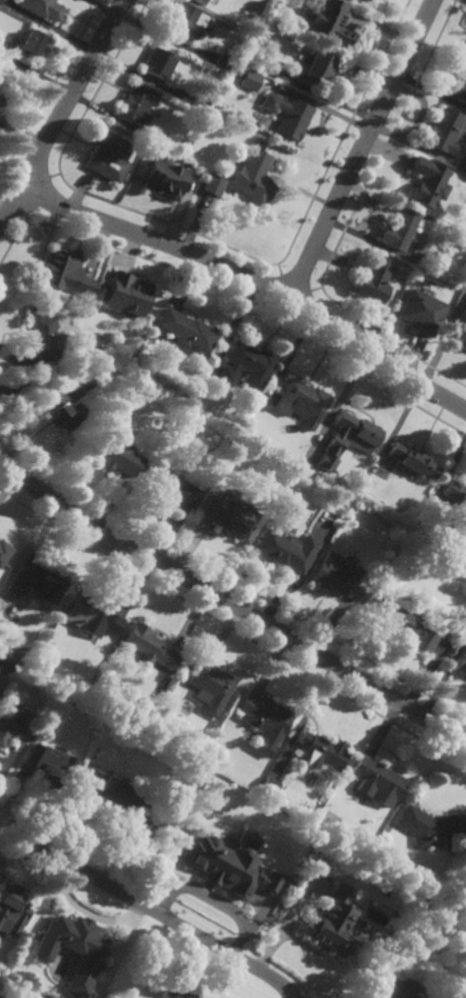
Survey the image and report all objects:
building: (205, 0)
building: (0, 1)
building: (195, 1)
building: (363, 1)
building: (43, 7)
building: (328, 21)
building: (184, 22)
building: (32, 43)
building: (222, 62)
building: (158, 63)
building: (270, 66)
building: (316, 66)
building: (250, 81)
building: (459, 87)
building: (3, 92)
building: (138, 103)
building: (200, 104)
road: (63, 111)
building: (288, 114)
building: (445, 131)
building: (119, 133)
building: (156, 138)
road: (362, 149)
building: (110, 157)
building: (254, 178)
building: (164, 179)
building: (428, 181)
building: (214, 184)
building: (400, 229)
building: (65, 273)
building: (375, 279)
road: (254, 280)
building: (125, 296)
building: (50, 310)
building: (422, 312)
road: (233, 328)
building: (185, 330)
building: (459, 331)
building: (45, 339)
building: (246, 365)
building: (300, 400)
building: (61, 410)
building: (348, 439)
building: (112, 456)
building: (412, 460)
building: (171, 489)
building: (456, 496)
building: (231, 520)
building: (285, 548)
building: (4, 552)
building: (336, 577)
building: (35, 583)
road: (227, 602)
building: (92, 616)
building: (400, 625)
building: (148, 648)
building: (8, 661)
building: (461, 663)
building: (210, 687)
building: (264, 721)
building: (16, 724)
building: (320, 750)
building: (48, 765)
building: (377, 779)
building: (268, 786)
building: (131, 812)
building: (430, 827)
building: (247, 840)
building: (229, 868)
road: (214, 900)
road: (147, 907)
building: (12, 908)
building: (330, 921)
building: (72, 948)
building: (3, 970)
building: (177, 990)
building: (395, 994)
building: (137, 997)

